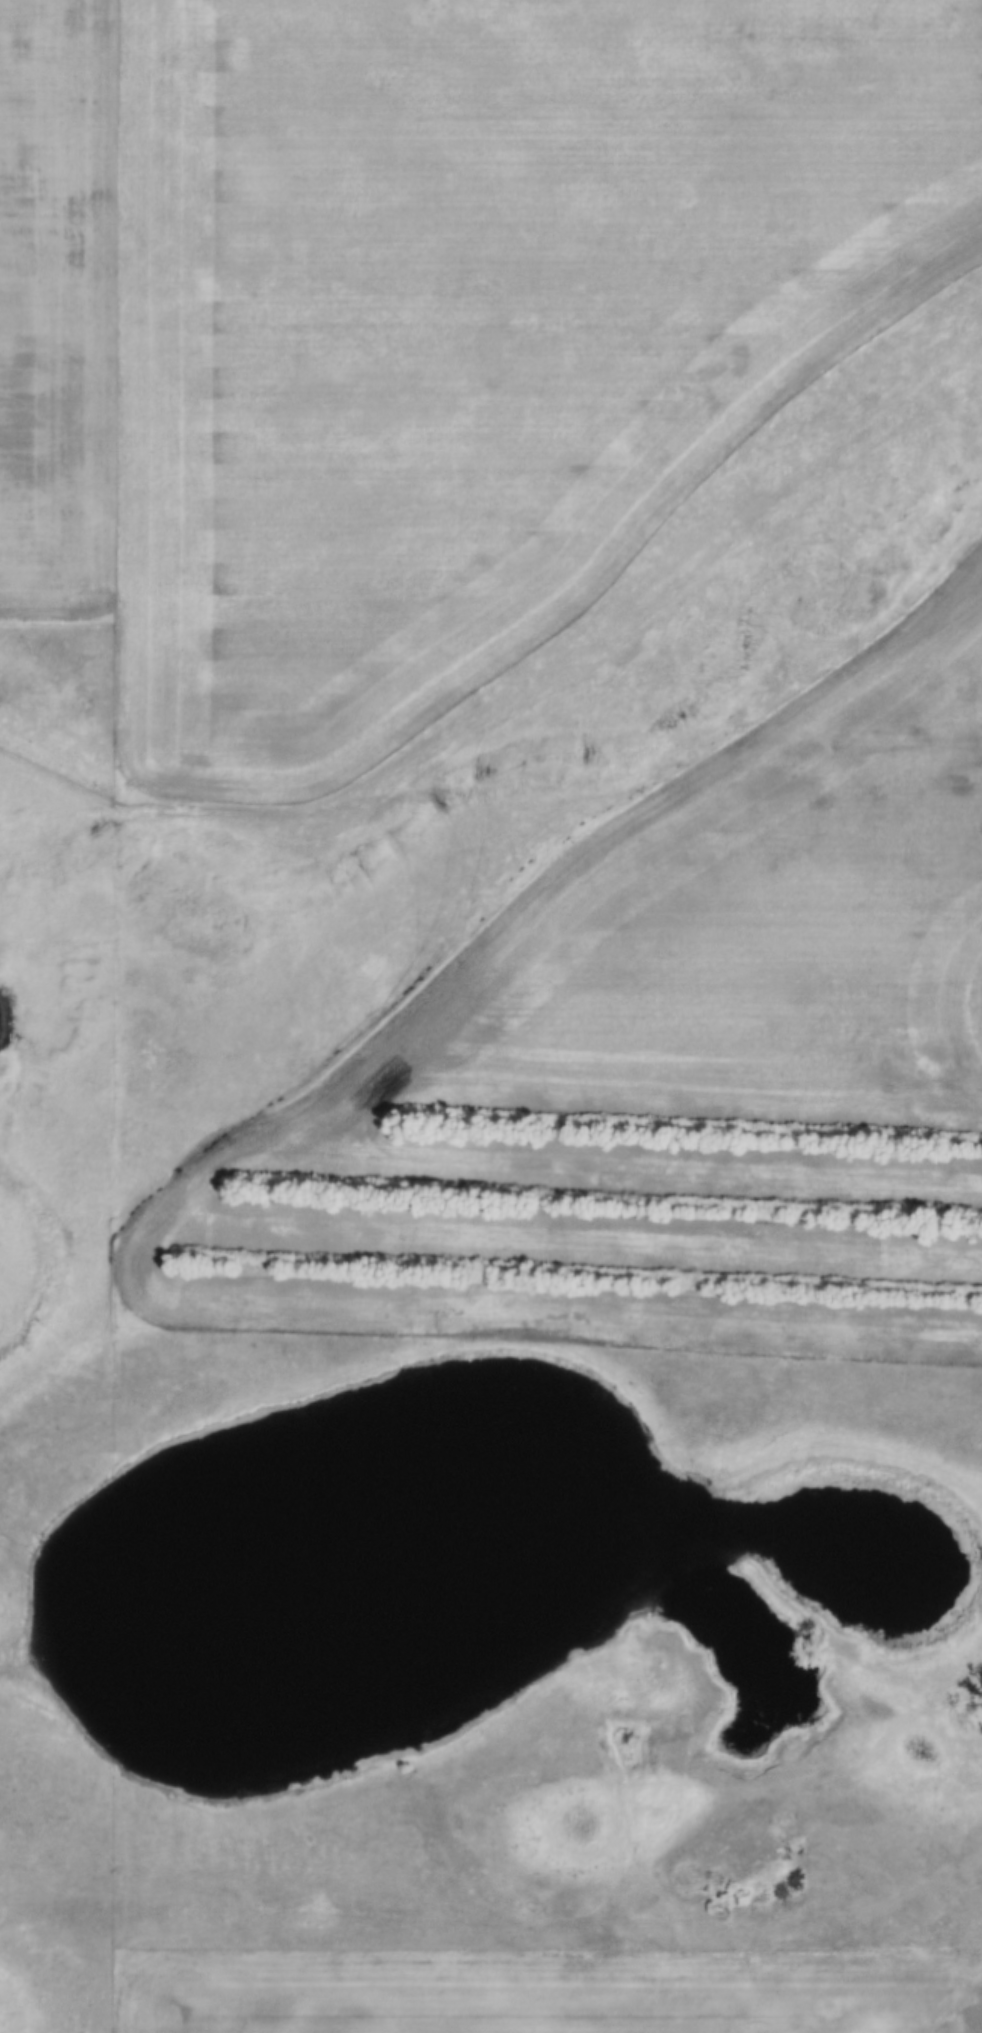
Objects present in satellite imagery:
road: (889, 1890)

